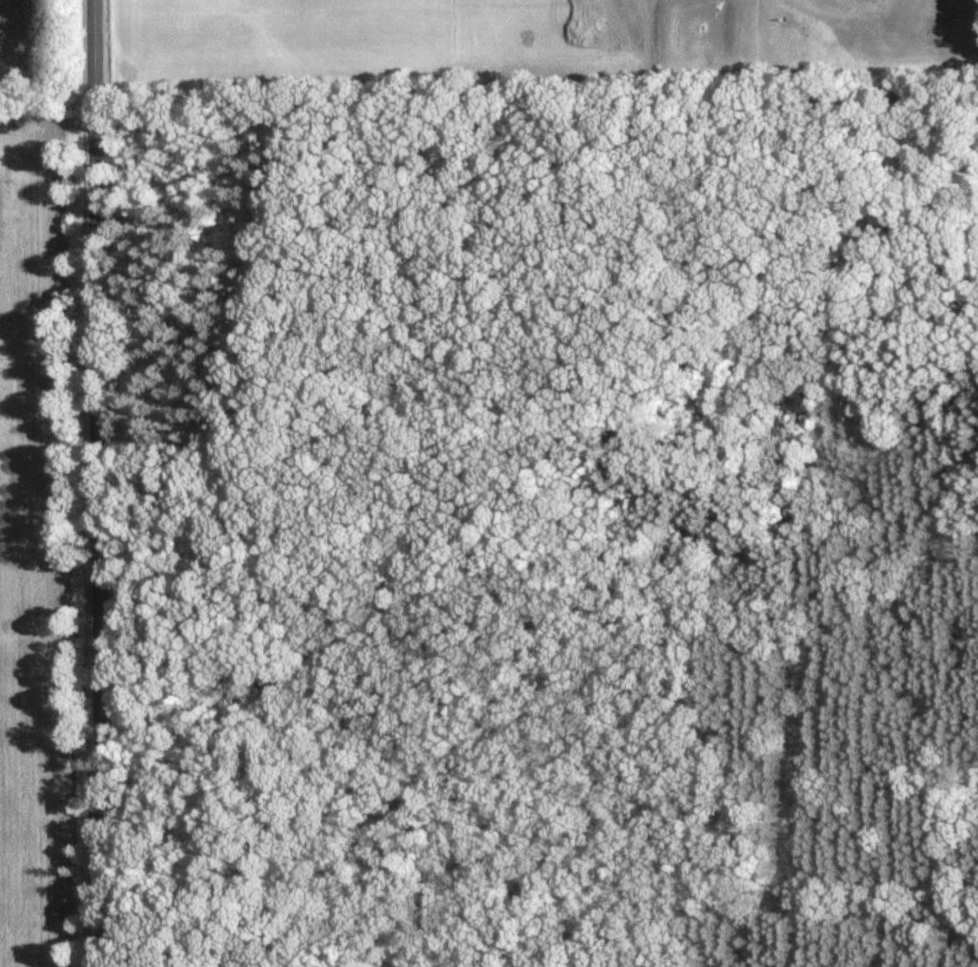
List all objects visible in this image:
road: (99, 483)

